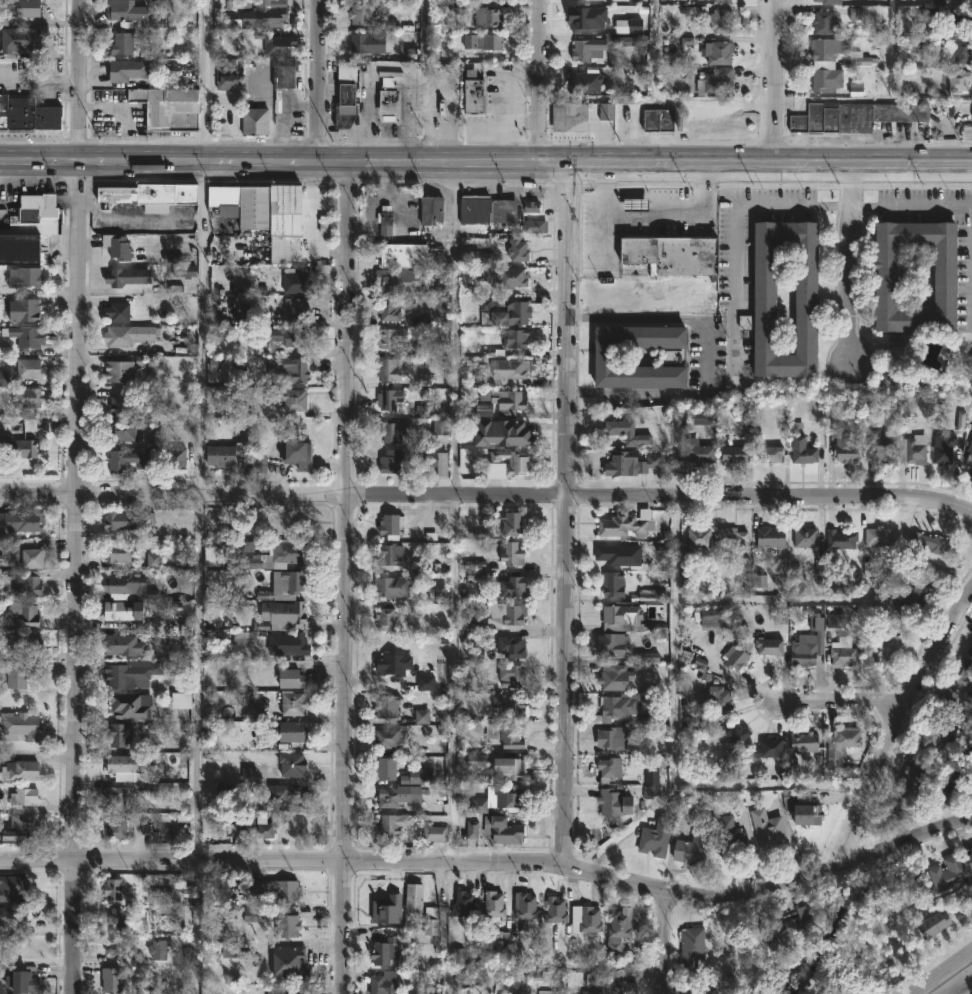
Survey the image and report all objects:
building: (631, 1)
building: (720, 1)
building: (827, 2)
building: (938, 2)
building: (17, 9)
building: (359, 14)
building: (133, 16)
building: (268, 16)
building: (487, 17)
building: (612, 17)
building: (722, 20)
building: (822, 23)
road: (428, 31)
building: (20, 41)
building: (482, 41)
building: (626, 41)
building: (369, 42)
building: (119, 44)
building: (280, 45)
road: (654, 48)
building: (582, 51)
building: (720, 52)
building: (961, 53)
building: (830, 63)
building: (124, 70)
building: (347, 72)
building: (227, 74)
building: (276, 74)
road: (318, 80)
building: (957, 80)
road: (536, 81)
building: (716, 81)
road: (775, 81)
building: (470, 93)
building: (389, 101)
building: (348, 105)
building: (168, 107)
building: (27, 113)
building: (577, 115)
road: (122, 117)
building: (853, 117)
building: (255, 122)
building: (658, 122)
road: (158, 161)
road: (873, 161)
road: (546, 163)
building: (146, 193)
building: (636, 205)
road: (912, 205)
building: (487, 208)
building: (429, 209)
building: (532, 209)
road: (654, 212)
building: (266, 213)
building: (385, 219)
building: (27, 228)
road: (735, 228)
building: (114, 246)
building: (518, 249)
building: (670, 252)
building: (404, 255)
building: (475, 257)
road: (851, 264)
building: (505, 276)
building: (884, 276)
building: (21, 277)
building: (127, 277)
building: (763, 279)
building: (400, 280)
building: (293, 282)
building: (294, 307)
building: (22, 310)
building: (386, 310)
building: (119, 311)
building: (502, 311)
road: (971, 320)
building: (130, 335)
building: (288, 336)
building: (25, 337)
building: (388, 337)
building: (511, 337)
building: (668, 357)
road: (708, 357)
building: (897, 357)
building: (26, 368)
building: (507, 368)
building: (387, 369)
building: (290, 370)
building: (120, 371)
building: (23, 397)
building: (386, 398)
building: (284, 399)
building: (503, 400)
building: (118, 401)
building: (18, 424)
road: (201, 429)
building: (122, 430)
building: (392, 430)
building: (626, 432)
building: (502, 433)
building: (878, 447)
building: (19, 448)
building: (843, 449)
building: (942, 450)
building: (696, 451)
building: (801, 451)
building: (913, 451)
building: (969, 451)
building: (731, 452)
building: (222, 453)
building: (768, 453)
building: (300, 456)
building: (174, 457)
building: (135, 460)
building: (390, 461)
building: (431, 461)
building: (509, 463)
building: (632, 463)
road: (74, 497)
road: (486, 499)
road: (454, 512)
road: (568, 513)
building: (21, 520)
building: (118, 520)
building: (511, 522)
building: (628, 523)
building: (391, 524)
building: (875, 535)
building: (769, 536)
building: (803, 537)
building: (699, 538)
road: (677, 539)
building: (729, 540)
building: (837, 544)
building: (933, 544)
building: (118, 552)
building: (512, 552)
building: (280, 554)
building: (620, 554)
building: (389, 555)
building: (214, 556)
building: (30, 558)
road: (342, 576)
building: (294, 580)
building: (25, 581)
building: (614, 582)
building: (124, 583)
building: (392, 586)
building: (509, 586)
building: (909, 600)
road: (762, 602)
building: (119, 610)
building: (284, 610)
building: (509, 612)
building: (623, 612)
building: (24, 613)
building: (383, 619)
building: (26, 641)
building: (289, 643)
building: (612, 643)
building: (120, 645)
building: (770, 645)
building: (511, 646)
building: (802, 649)
building: (969, 650)
building: (879, 651)
building: (841, 653)
building: (736, 657)
building: (394, 663)
building: (959, 670)
building: (131, 673)
building: (18, 674)
building: (511, 674)
building: (617, 676)
building: (292, 678)
building: (426, 684)
building: (722, 698)
building: (182, 701)
building: (946, 701)
building: (293, 703)
road: (838, 703)
building: (617, 704)
building: (126, 706)
building: (384, 706)
building: (508, 706)
building: (595, 718)
building: (22, 724)
road: (897, 724)
building: (294, 731)
building: (115, 734)
building: (505, 735)
building: (734, 736)
building: (614, 737)
building: (389, 738)
building: (923, 738)
building: (802, 742)
building: (839, 747)
building: (764, 750)
building: (124, 763)
building: (289, 764)
building: (386, 768)
building: (507, 768)
building: (608, 768)
building: (21, 769)
building: (911, 775)
building: (417, 776)
building: (400, 795)
building: (25, 796)
building: (115, 797)
building: (284, 797)
building: (500, 797)
building: (612, 802)
building: (805, 815)
building: (393, 824)
road: (631, 825)
building: (114, 827)
building: (18, 828)
building: (503, 829)
building: (767, 830)
building: (266, 831)
building: (435, 833)
building: (654, 837)
building: (728, 838)
building: (690, 849)
building: (969, 857)
road: (494, 861)
building: (945, 873)
building: (13, 890)
building: (110, 890)
building: (279, 890)
building: (414, 895)
road: (444, 899)
building: (462, 904)
building: (496, 904)
building: (523, 906)
building: (553, 910)
building: (11, 916)
building: (587, 919)
building: (431, 921)
building: (623, 923)
building: (930, 924)
building: (288, 925)
building: (788, 927)
road: (664, 941)
building: (161, 948)
building: (693, 949)
building: (382, 952)
road: (945, 974)
building: (111, 979)
building: (23, 982)
building: (384, 982)
building: (463, 982)
building: (616, 988)
building: (277, 990)
building: (588, 991)
building: (548, 992)

